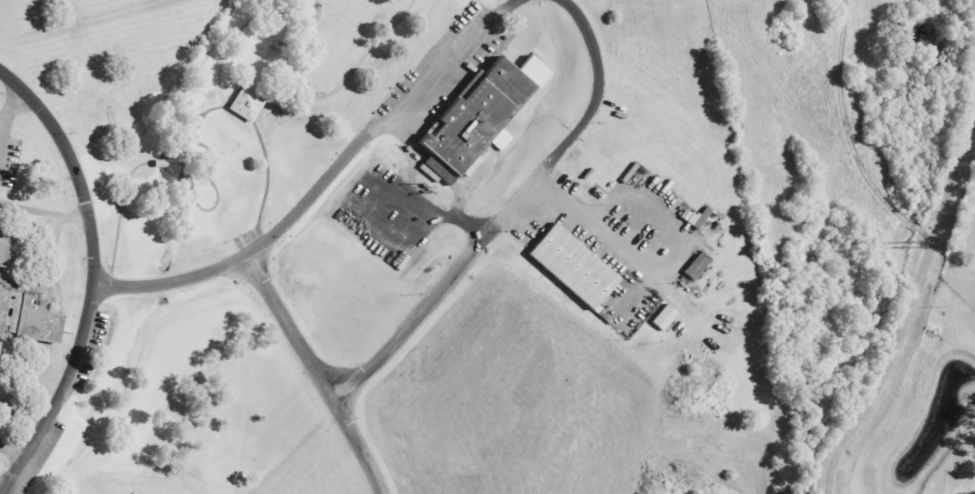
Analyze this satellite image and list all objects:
building: (246, 104)
building: (481, 115)
road: (7, 117)
road: (848, 135)
road: (73, 172)
road: (453, 212)
road: (42, 213)
building: (6, 243)
power tower: (906, 243)
road: (236, 263)
building: (571, 266)
building: (695, 267)
road: (913, 306)
building: (26, 312)
building: (664, 317)
road: (316, 374)
road: (58, 397)
road: (24, 412)

